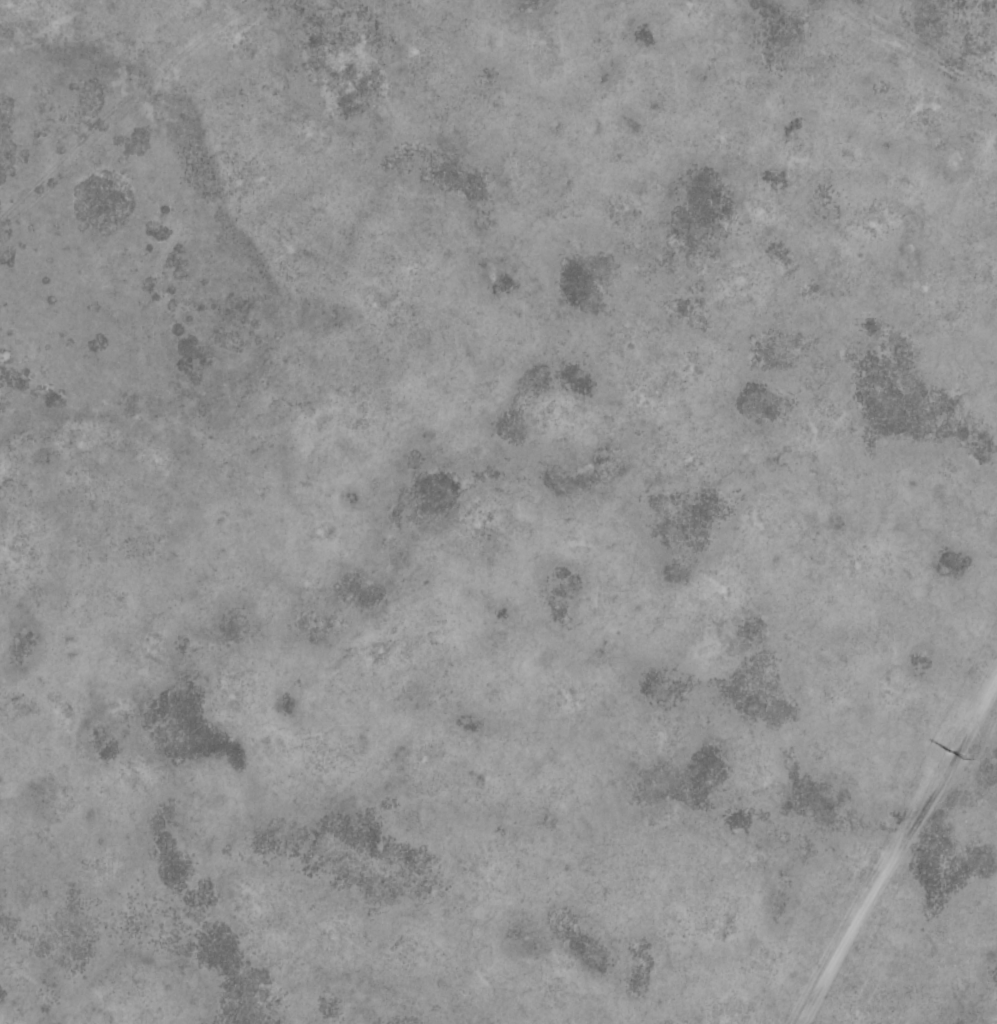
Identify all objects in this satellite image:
power tower: (956, 755)

